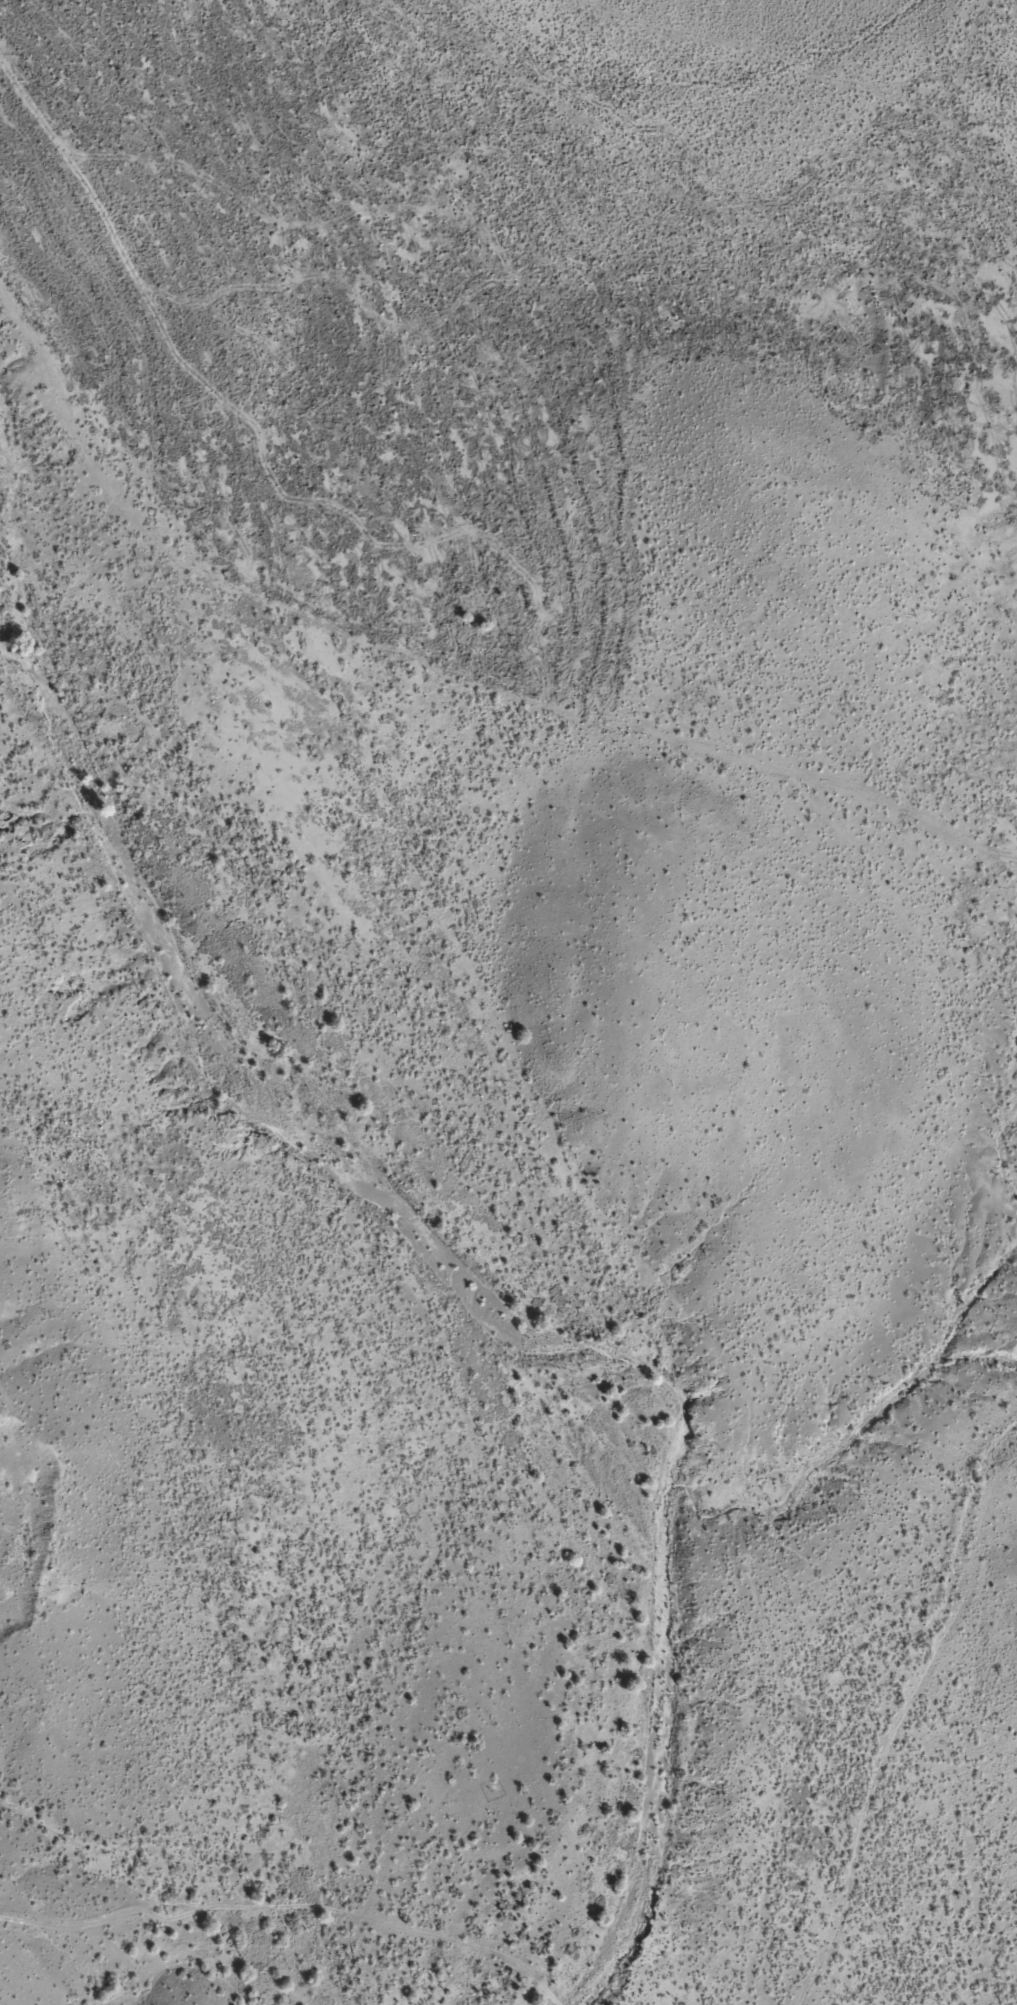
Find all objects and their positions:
road: (720, 582)
road: (448, 692)
road: (888, 1763)

